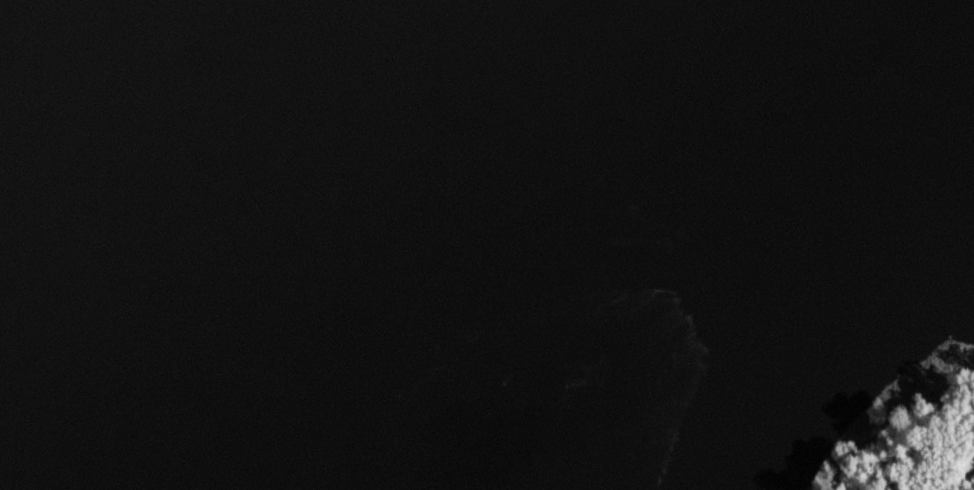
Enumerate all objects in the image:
river: (394, 244)

